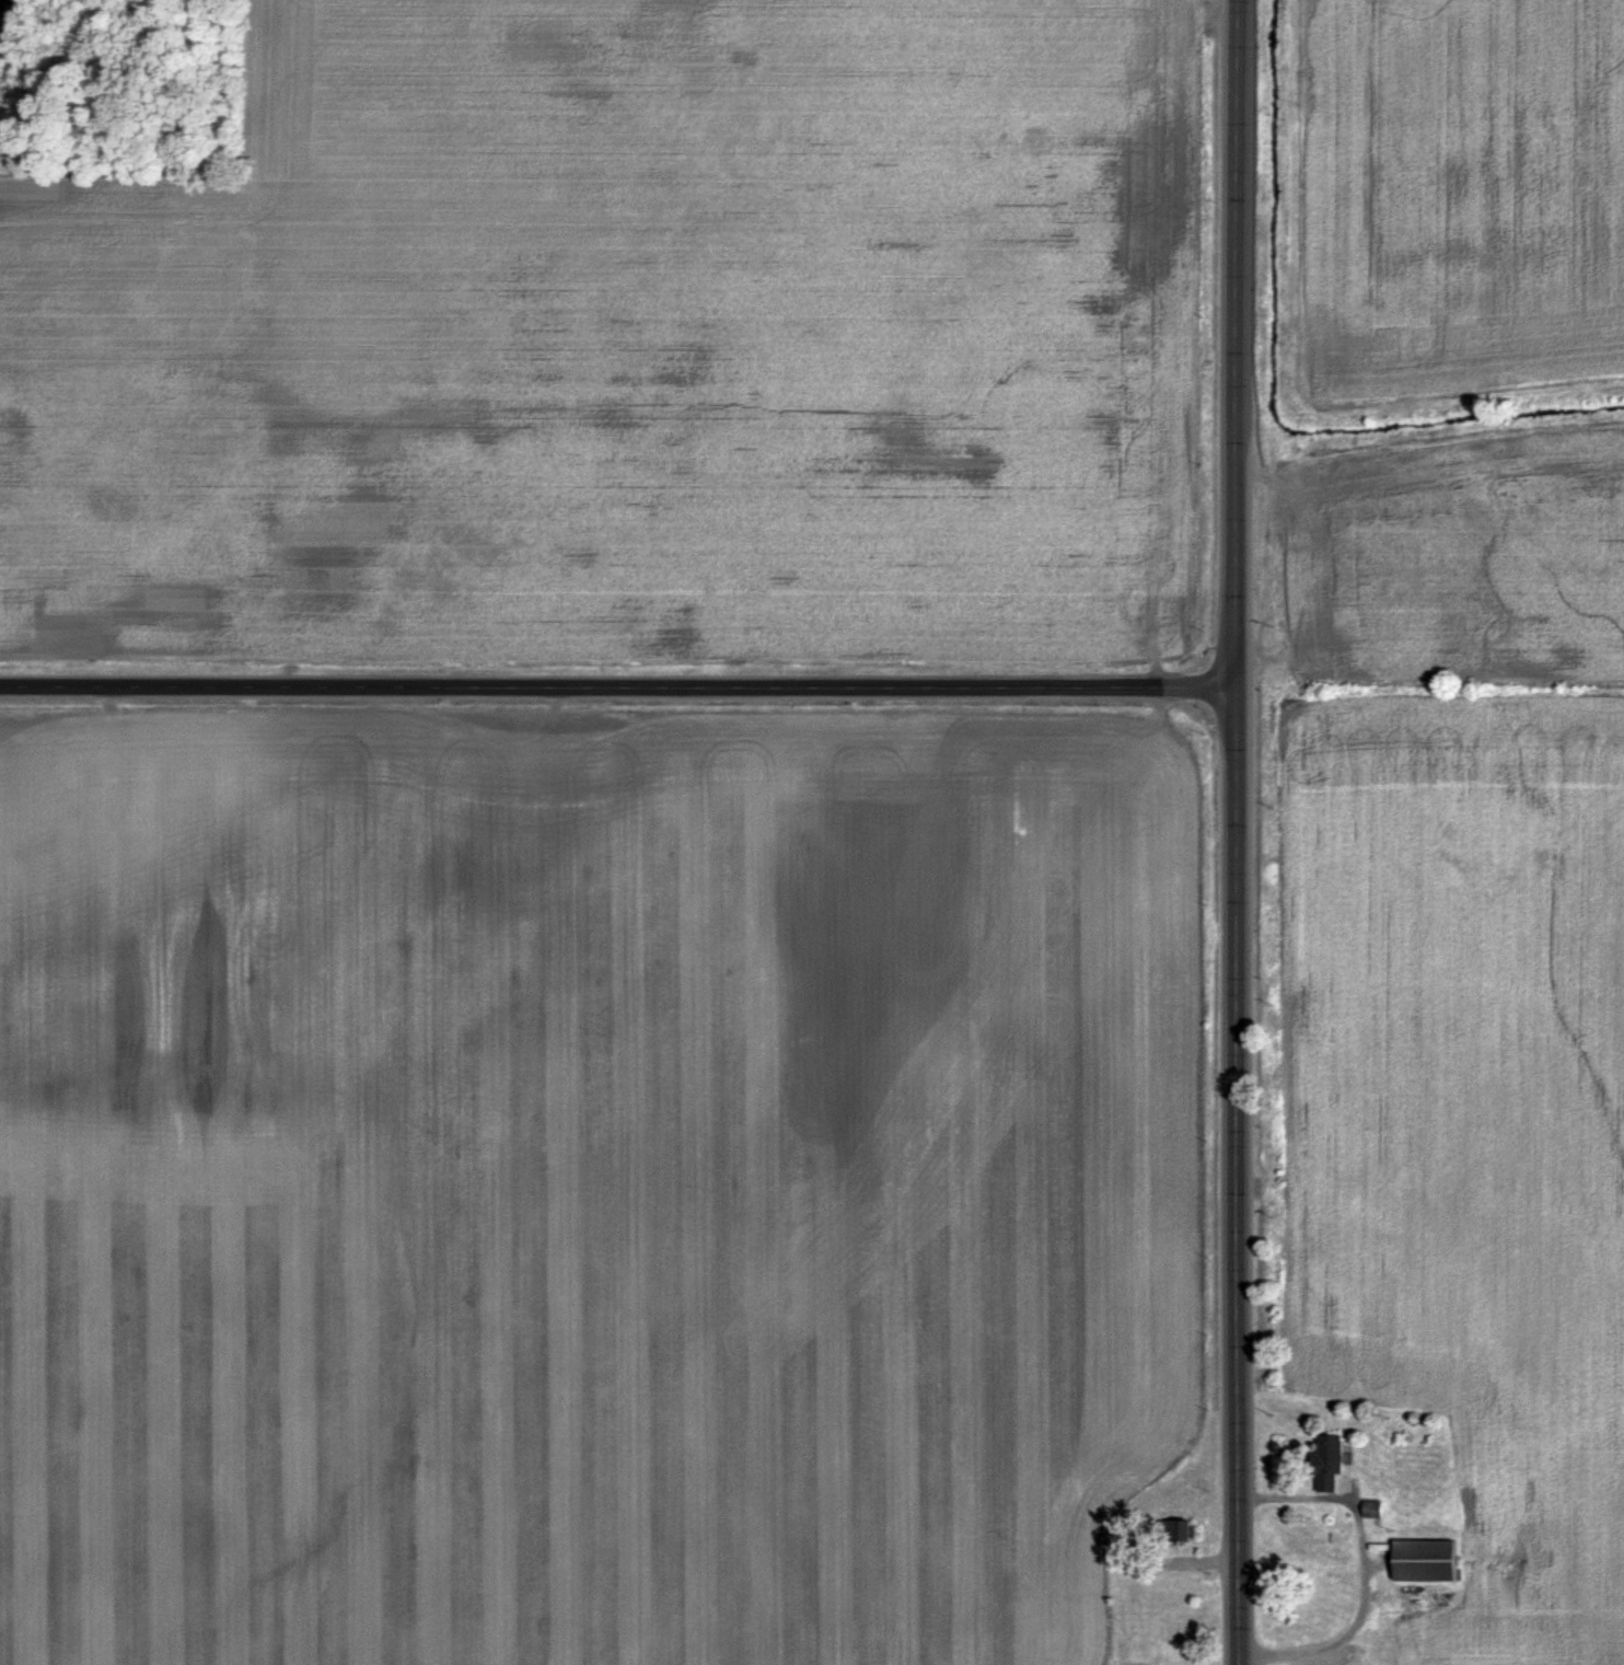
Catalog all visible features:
crop: (615, 339)
crop: (1427, 343)
road: (613, 684)
road: (1227, 832)
crop: (1426, 1173)
crop: (603, 1186)
building: (1329, 1461)
building: (1372, 1508)
building: (1425, 1560)
road: (1369, 1561)

